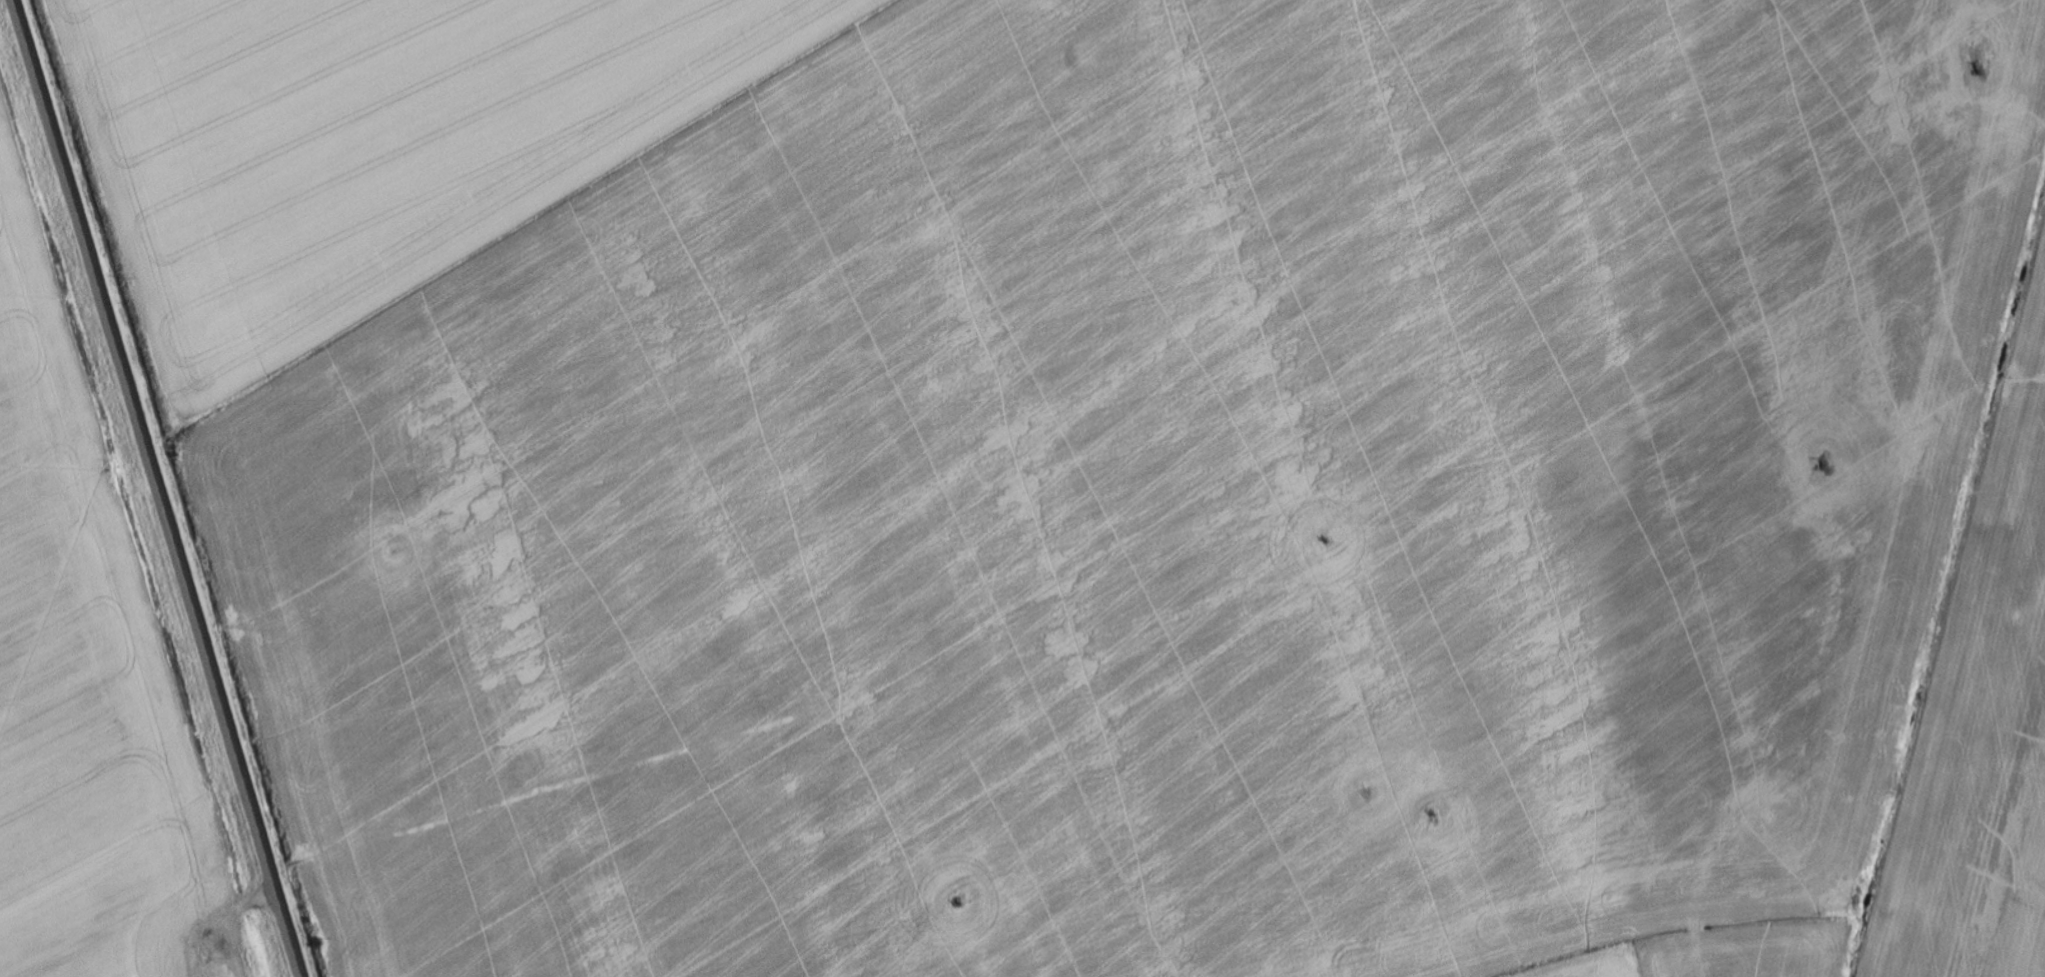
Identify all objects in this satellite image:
road: (155, 488)

